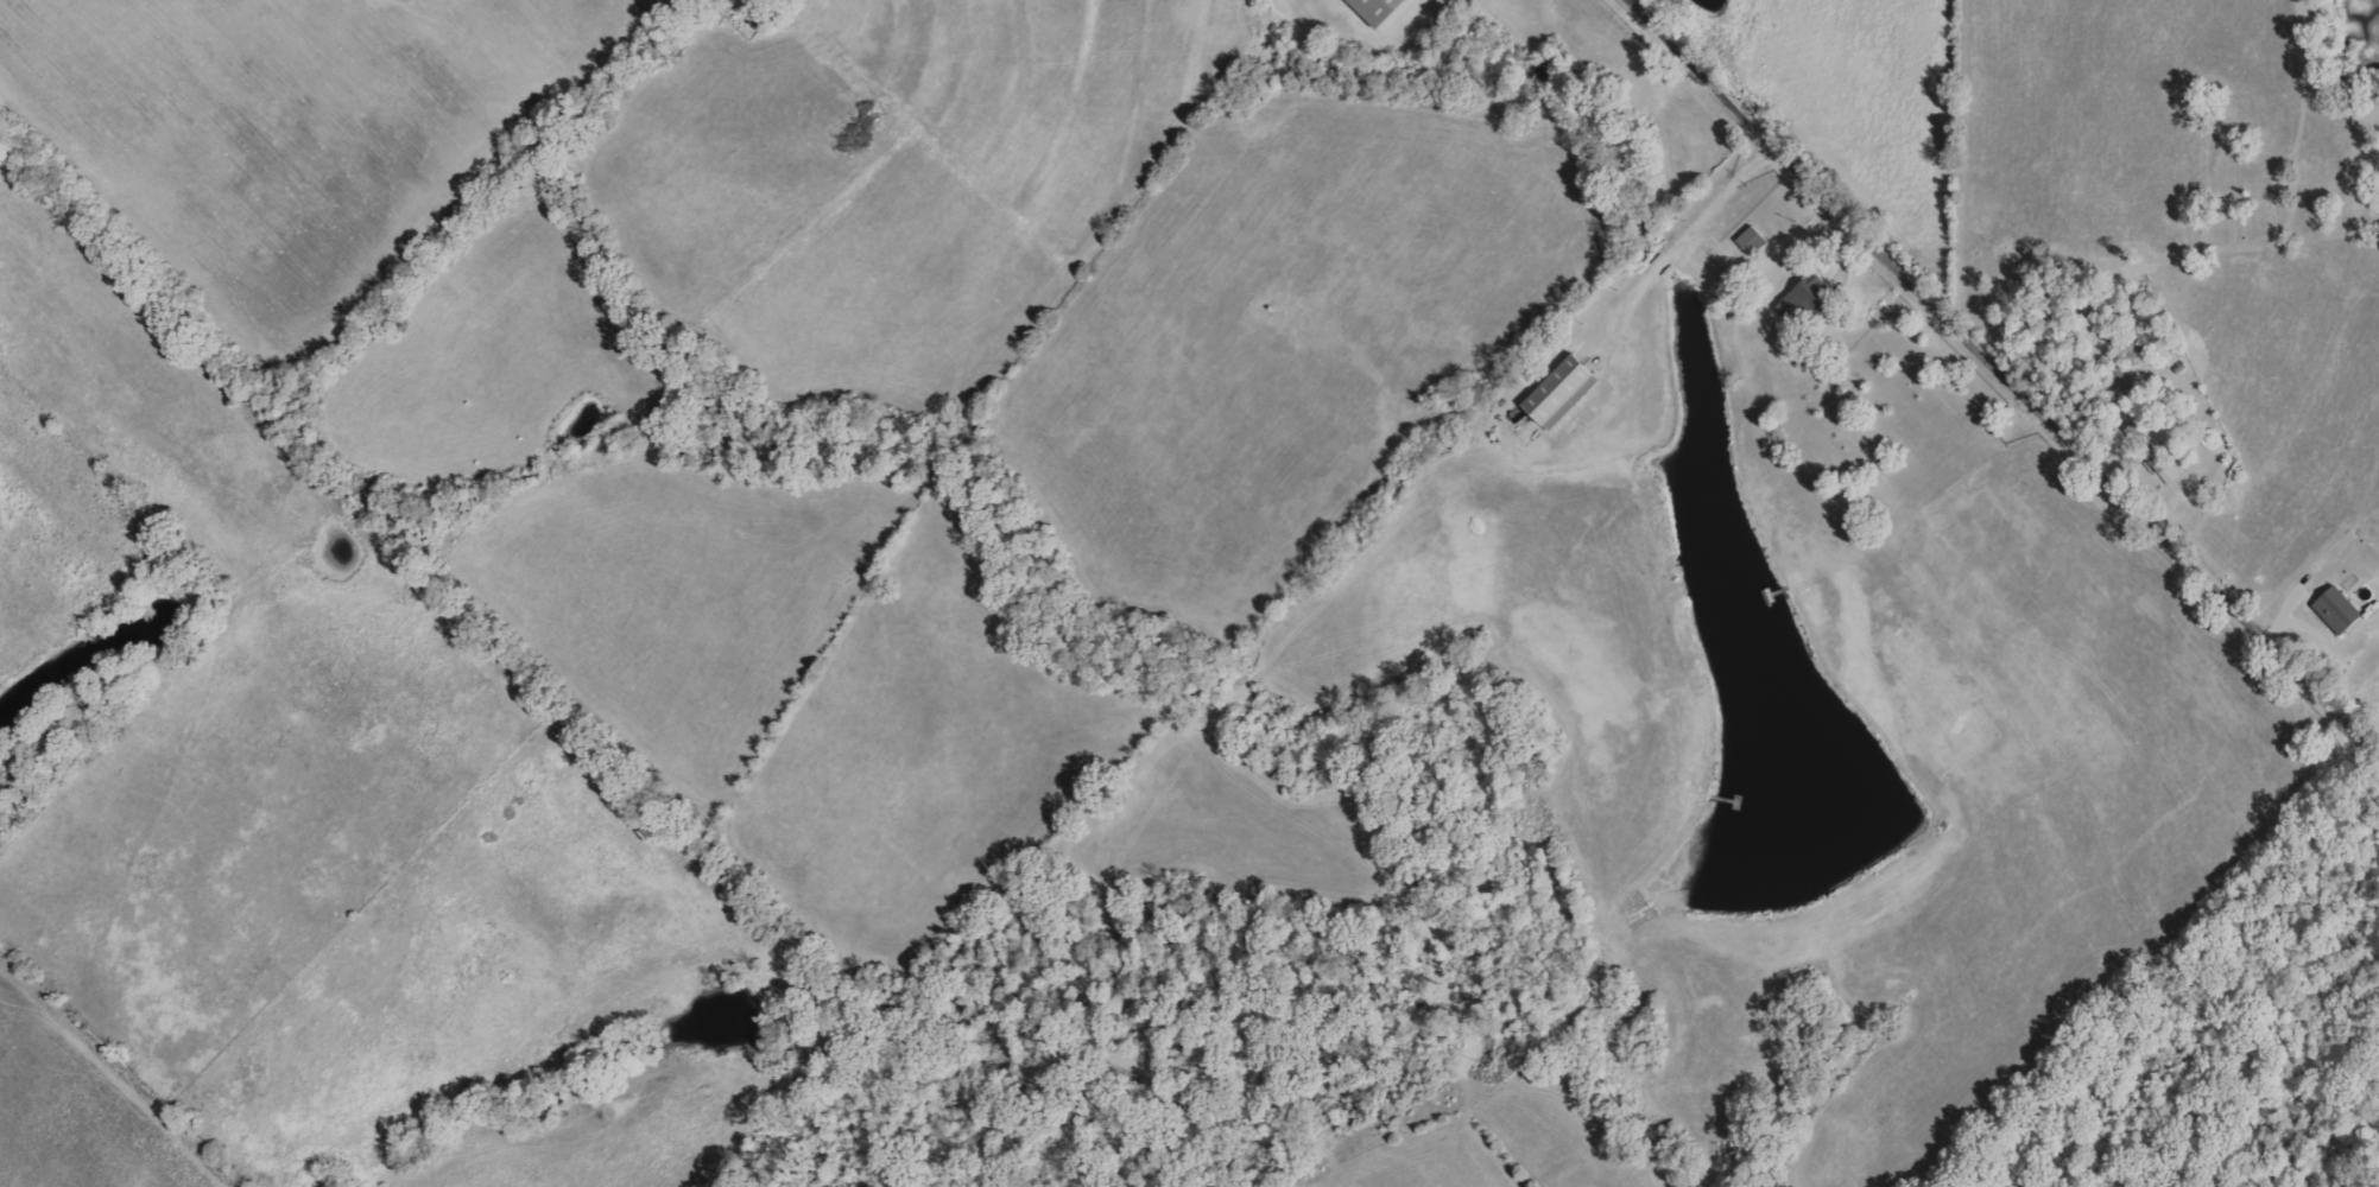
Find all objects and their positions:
building: (1384, 9)
road: (1677, 240)
building: (1755, 241)
building: (1809, 299)
road: (2002, 381)
building: (1568, 391)
building: (2341, 610)

